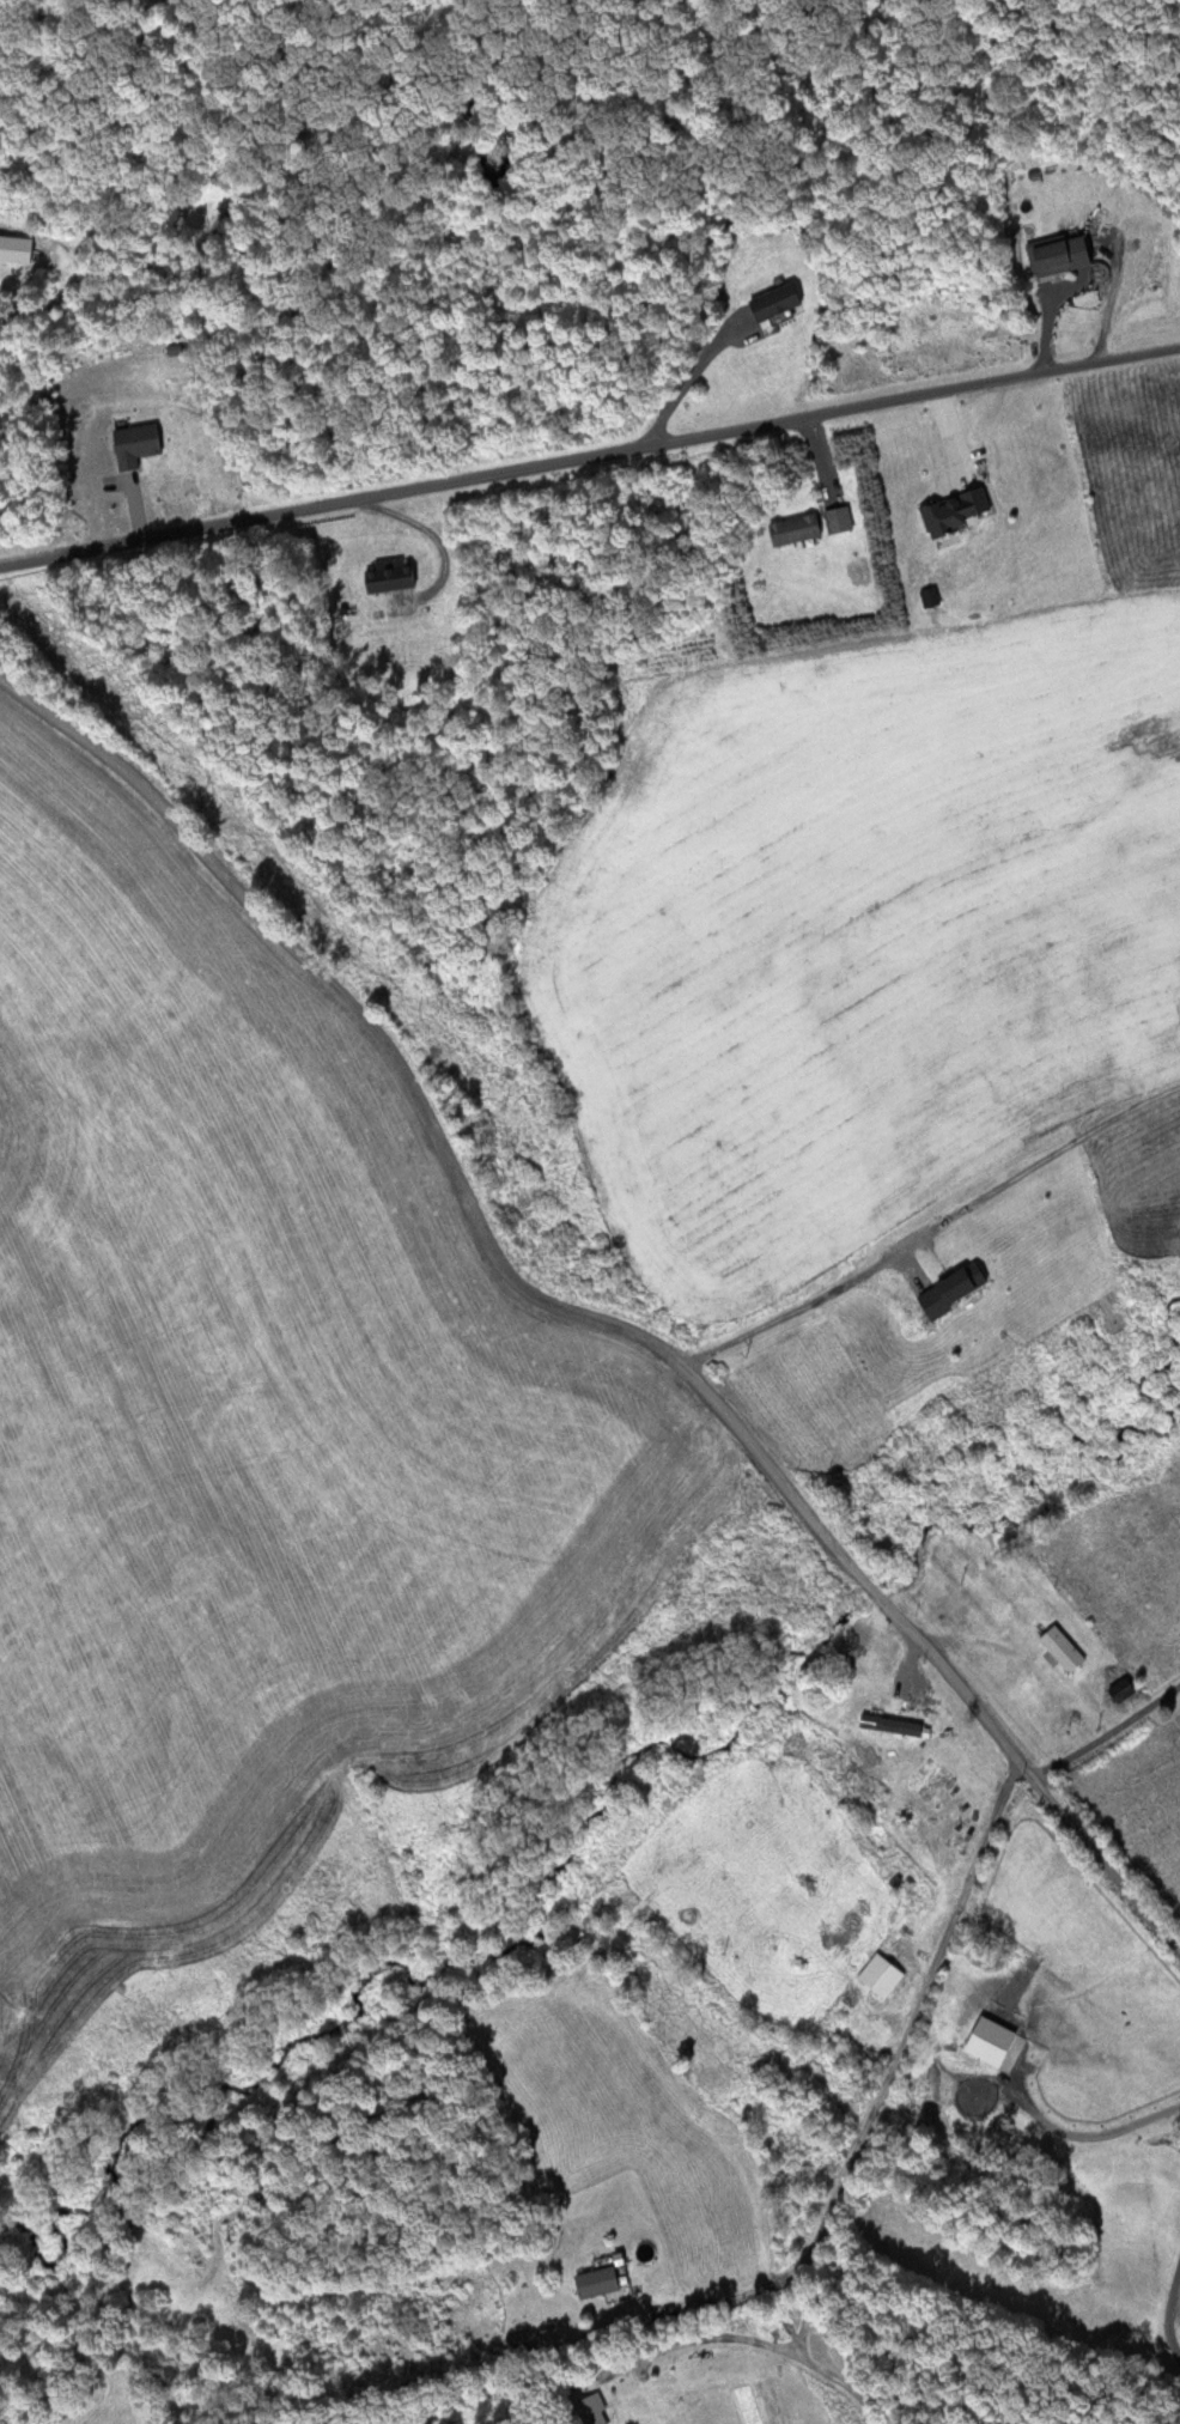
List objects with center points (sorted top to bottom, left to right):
building: (12, 247)
building: (1054, 254)
building: (766, 302)
road: (590, 457)
building: (949, 508)
building: (833, 518)
building: (790, 528)
building: (379, 576)
building: (953, 1282)
road: (585, 1313)
building: (1057, 1646)
building: (876, 1974)
building: (591, 2282)
building: (585, 2410)

